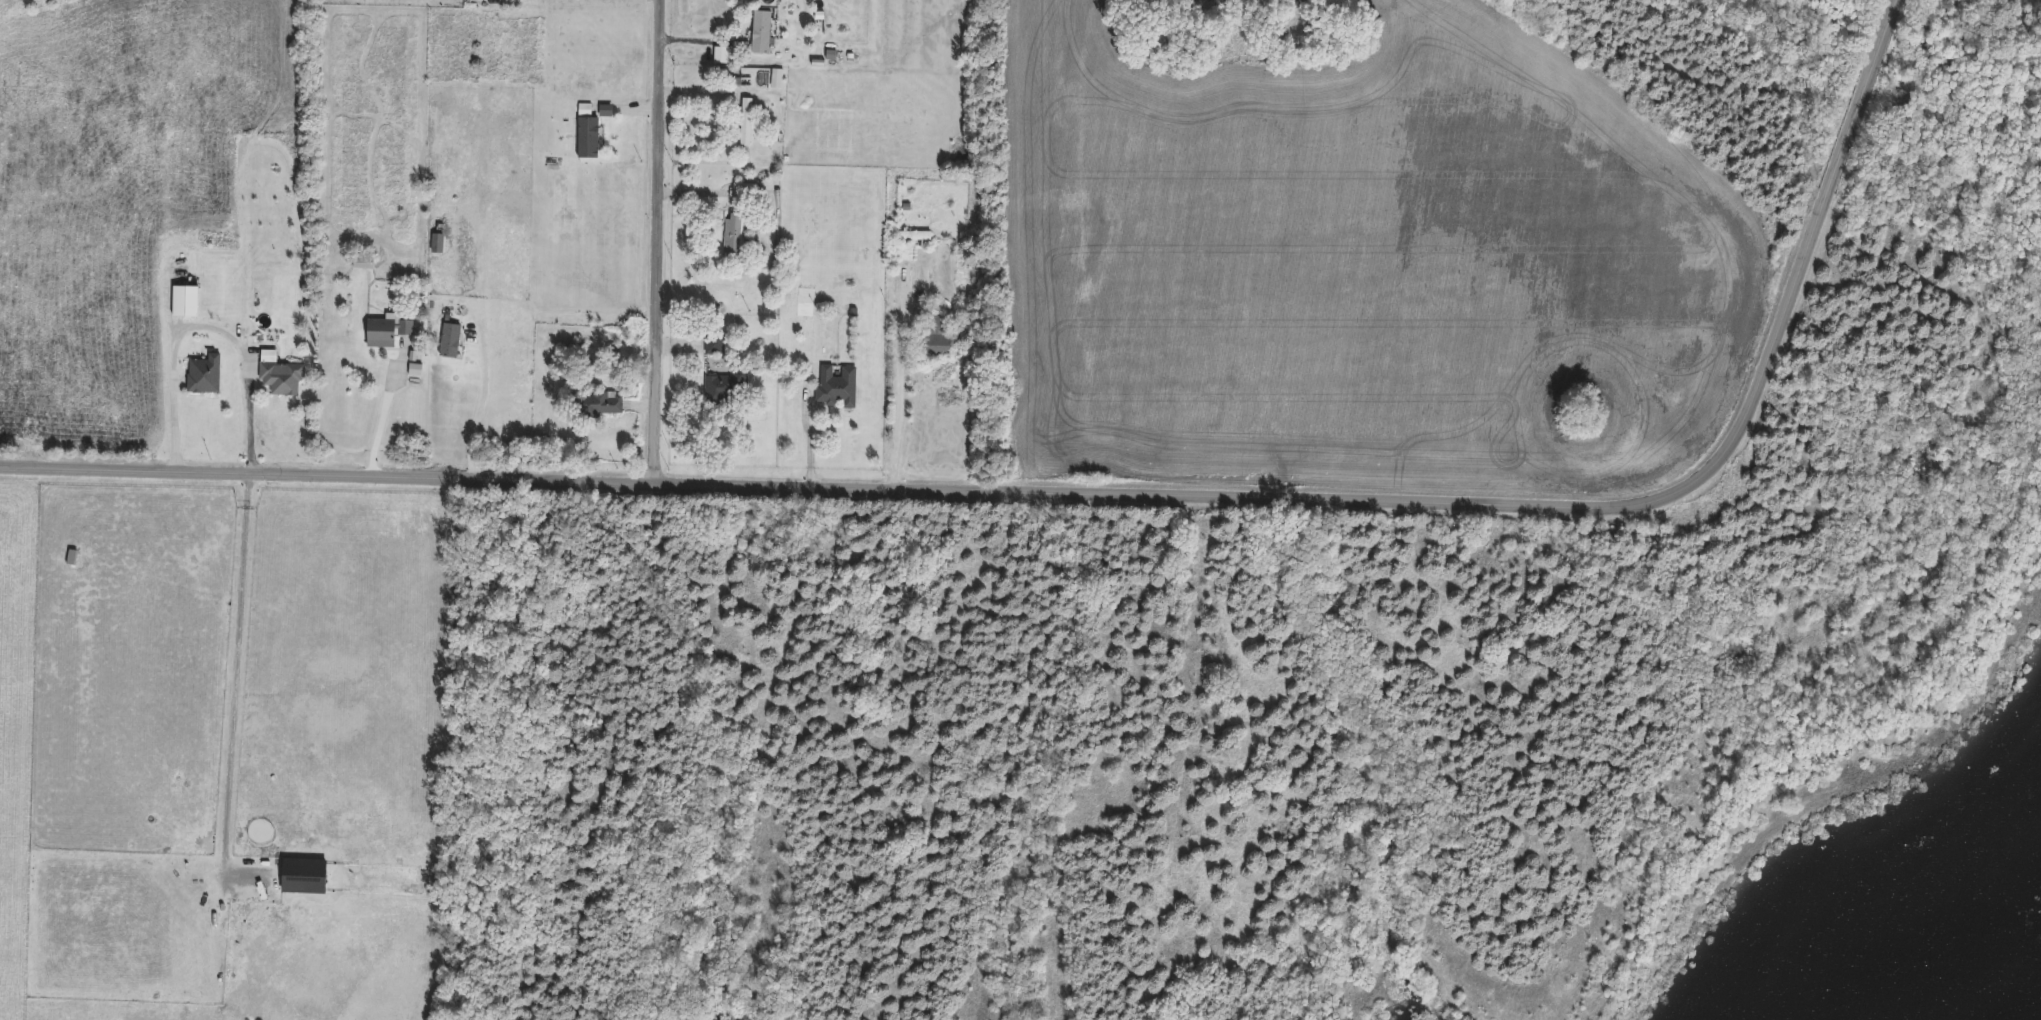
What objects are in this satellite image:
building: (760, 33)
road: (701, 41)
building: (745, 122)
building: (587, 138)
building: (744, 192)
building: (912, 237)
building: (732, 238)
road: (656, 242)
building: (362, 262)
building: (183, 301)
road: (206, 326)
building: (386, 332)
building: (938, 339)
building: (449, 342)
building: (713, 343)
building: (202, 375)
building: (279, 375)
road: (899, 378)
building: (836, 385)
building: (723, 387)
road: (478, 400)
building: (595, 403)
road: (383, 415)
road: (809, 439)
road: (1114, 494)
road: (238, 671)

